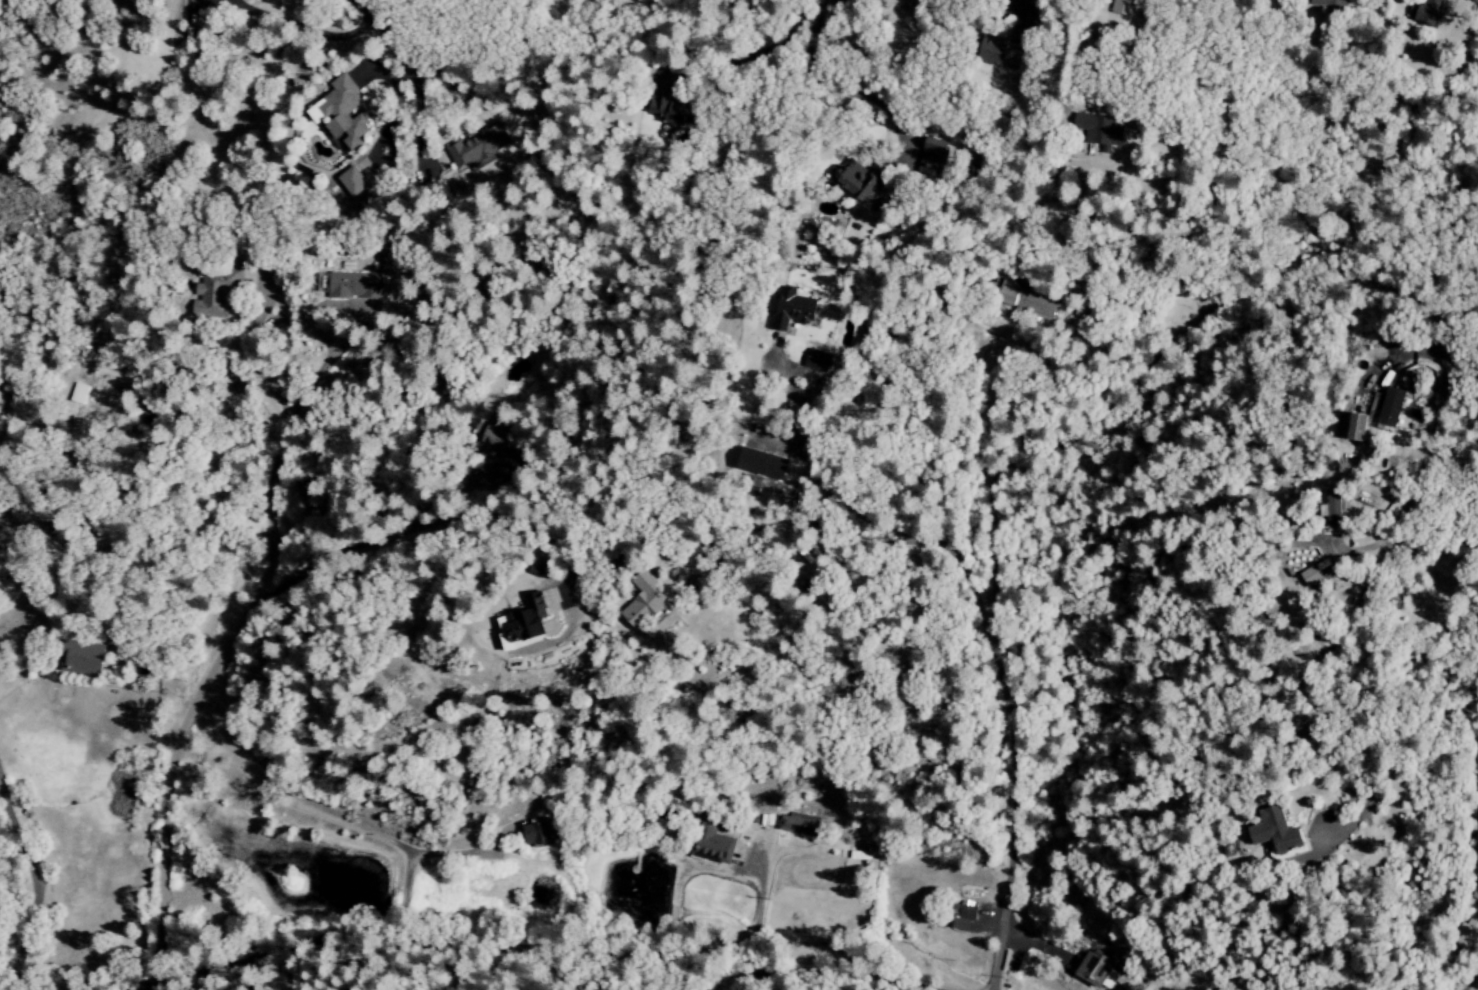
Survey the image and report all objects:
building: (1326, 3)
building: (1124, 7)
building: (195, 8)
building: (1425, 12)
road: (1016, 14)
road: (381, 34)
building: (673, 109)
building: (341, 114)
building: (1101, 130)
building: (479, 146)
building: (935, 156)
building: (365, 168)
building: (353, 181)
building: (859, 181)
building: (357, 285)
building: (214, 299)
building: (793, 309)
road: (253, 357)
building: (818, 361)
building: (1399, 407)
building: (1364, 427)
building: (493, 442)
building: (764, 464)
building: (1333, 506)
road: (815, 518)
road: (370, 543)
building: (1317, 573)
building: (650, 602)
building: (534, 621)
road: (205, 675)
building: (800, 825)
building: (1270, 831)
building: (539, 833)
building: (1476, 839)
building: (715, 846)
road: (33, 885)
building: (964, 918)
road: (371, 920)
building: (1469, 931)
road: (527, 955)
building: (1092, 969)
road: (994, 978)

